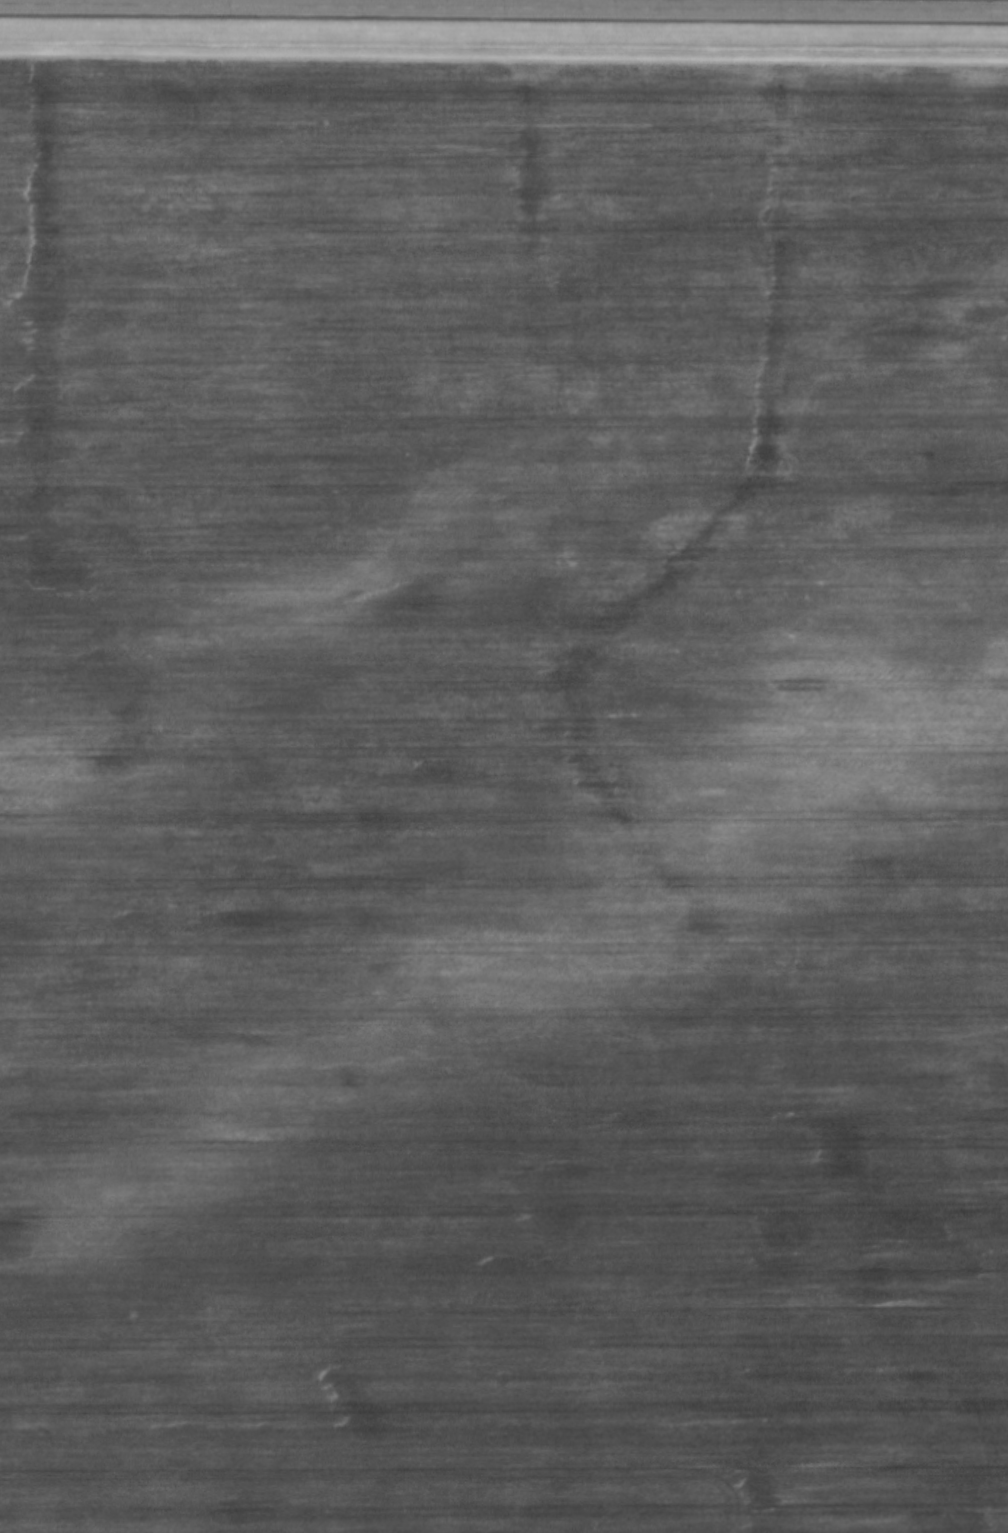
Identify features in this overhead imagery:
road: (504, 8)

